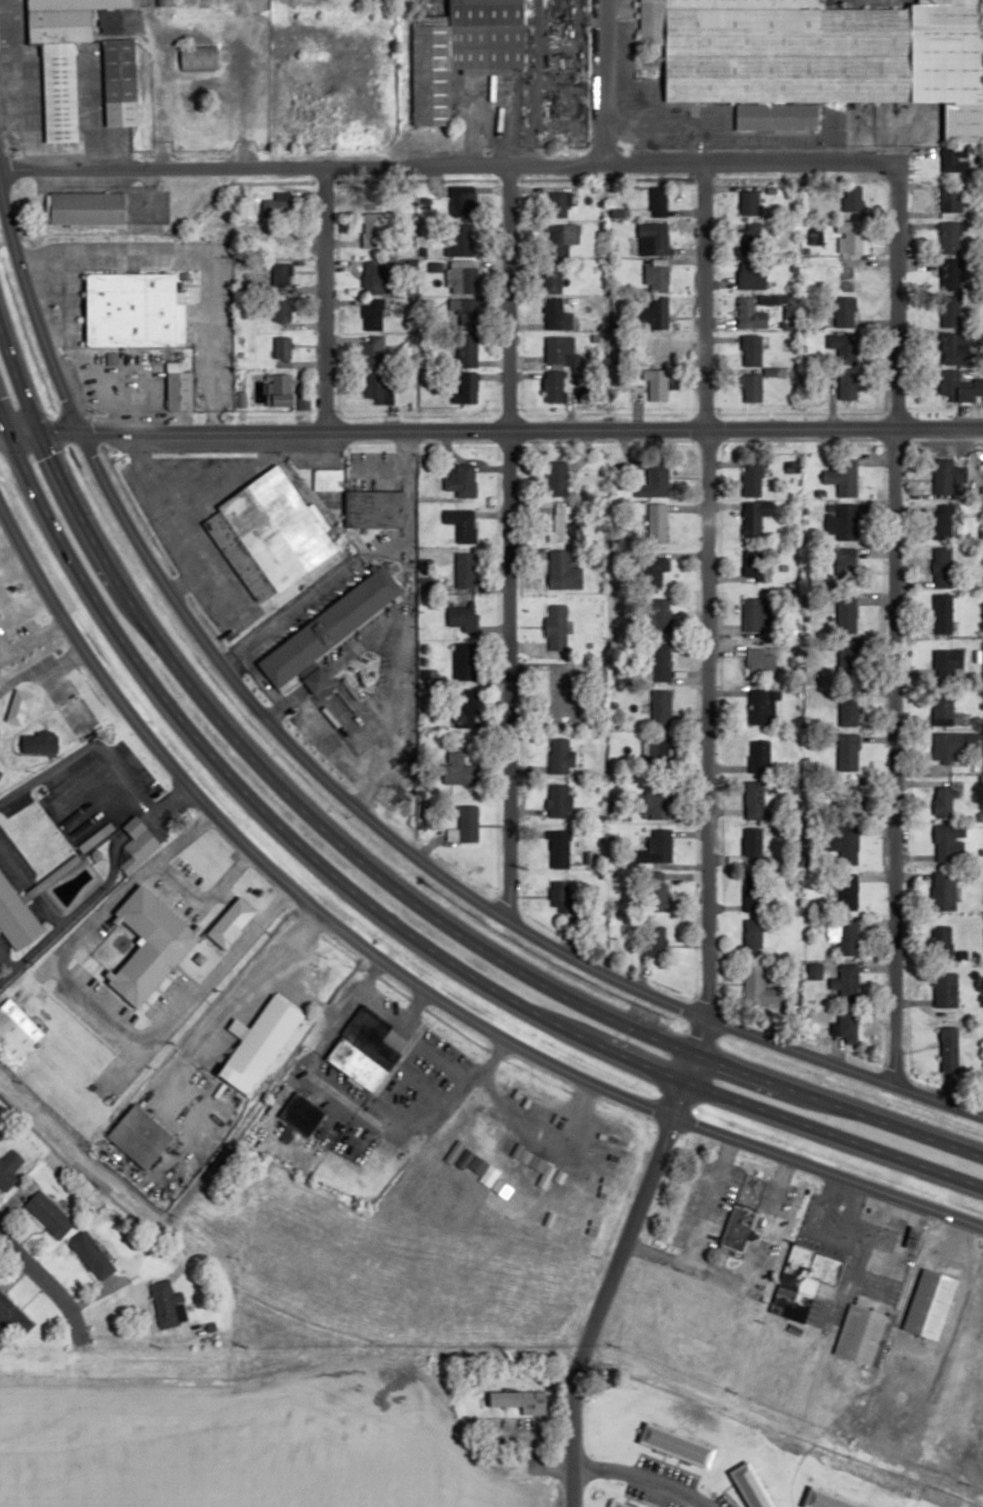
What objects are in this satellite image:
building: (163, 1)
building: (460, 52)
building: (198, 57)
building: (821, 57)
building: (62, 62)
building: (116, 74)
road: (602, 83)
building: (949, 160)
road: (452, 166)
building: (749, 201)
building: (461, 202)
building: (659, 202)
building: (950, 202)
building: (277, 205)
building: (558, 205)
building: (87, 208)
building: (376, 230)
building: (853, 237)
building: (560, 238)
building: (949, 238)
building: (653, 239)
building: (462, 240)
building: (273, 241)
building: (749, 241)
road: (198, 252)
building: (280, 275)
building: (751, 275)
building: (948, 276)
building: (379, 277)
building: (657, 278)
building: (462, 280)
building: (555, 280)
road: (323, 301)
building: (131, 310)
building: (282, 311)
building: (465, 312)
building: (845, 312)
building: (372, 314)
building: (554, 314)
building: (654, 315)
building: (751, 315)
building: (950, 315)
building: (843, 347)
building: (281, 348)
building: (959, 349)
building: (753, 350)
building: (466, 351)
building: (559, 351)
building: (656, 351)
building: (372, 354)
building: (844, 384)
building: (657, 385)
building: (374, 386)
building: (553, 386)
building: (178, 387)
building: (958, 387)
building: (465, 388)
building: (751, 389)
building: (282, 390)
road: (491, 430)
traffic signals: (30, 434)
building: (947, 476)
building: (327, 479)
building: (556, 479)
building: (752, 479)
building: (841, 479)
building: (462, 481)
building: (654, 481)
building: (374, 509)
building: (756, 518)
building: (842, 521)
building: (942, 522)
building: (562, 523)
building: (657, 523)
building: (461, 525)
road: (172, 529)
building: (267, 534)
road: (504, 541)
building: (845, 561)
building: (752, 563)
building: (941, 568)
building: (464, 571)
building: (655, 571)
building: (563, 572)
building: (0, 614)
building: (755, 615)
building: (846, 615)
building: (942, 615)
building: (660, 616)
building: (461, 617)
building: (330, 627)
building: (555, 627)
road: (888, 633)
road: (31, 638)
road: (3, 649)
building: (847, 657)
building: (464, 662)
building: (948, 662)
building: (661, 663)
building: (759, 663)
building: (317, 680)
building: (564, 699)
building: (18, 706)
building: (761, 706)
building: (942, 706)
building: (462, 708)
building: (661, 709)
building: (848, 710)
building: (39, 743)
building: (946, 748)
building: (660, 749)
building: (848, 752)
building: (560, 756)
building: (759, 756)
building: (457, 769)
road: (46, 771)
building: (1, 773)
road: (122, 773)
building: (848, 799)
building: (558, 801)
building: (657, 801)
building: (755, 801)
building: (943, 802)
road: (170, 803)
road: (355, 806)
parking lot: (72, 810)
building: (467, 823)
park: (35, 838)
building: (752, 843)
building: (949, 843)
building: (137, 844)
building: (659, 845)
road: (706, 846)
building: (848, 848)
building: (559, 849)
road: (70, 863)
road: (385, 882)
road: (29, 886)
building: (657, 887)
building: (751, 892)
building: (847, 892)
building: (944, 892)
building: (561, 898)
road: (203, 899)
road: (87, 902)
building: (16, 917)
building: (231, 922)
road: (83, 931)
road: (396, 931)
building: (752, 936)
building: (846, 939)
building: (941, 942)
building: (150, 945)
building: (648, 948)
road: (5, 964)
building: (0, 975)
road: (407, 980)
building: (845, 984)
road: (201, 985)
building: (944, 985)
building: (755, 986)
road: (229, 1005)
building: (840, 1026)
building: (16, 1031)
building: (258, 1043)
building: (364, 1047)
road: (317, 1054)
building: (949, 1057)
building: (297, 1114)
building: (140, 1136)
building: (9, 1169)
building: (539, 1173)
building: (49, 1214)
building: (739, 1228)
building: (91, 1255)
building: (803, 1281)
road: (46, 1288)
building: (165, 1303)
building: (930, 1303)
building: (13, 1317)
building: (863, 1334)
building: (518, 1400)
building: (678, 1444)
road: (662, 1455)
road: (677, 1461)
road: (668, 1463)
road: (530, 1466)
parking lot: (666, 1471)
road: (640, 1479)
building: (753, 1485)
road: (723, 1491)
parking lot: (649, 1497)
building: (827, 1499)
road: (637, 1500)
parking lot: (722, 1500)
building: (623, 1504)

